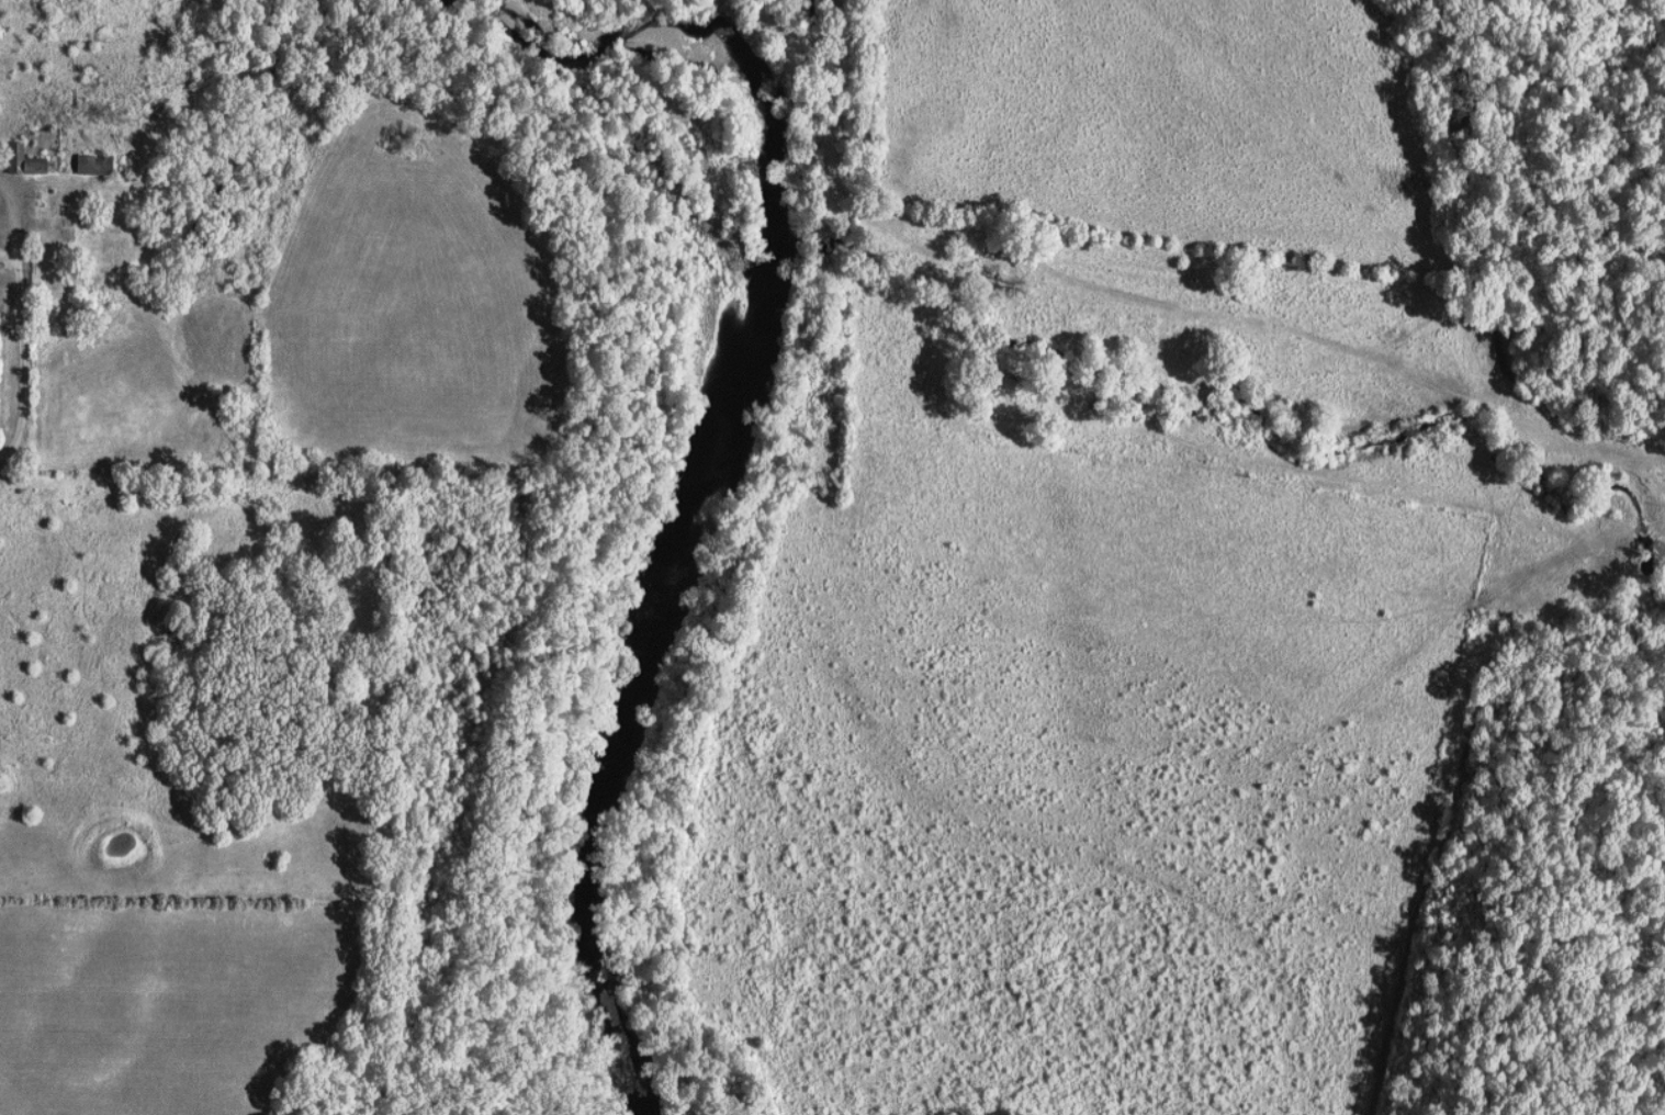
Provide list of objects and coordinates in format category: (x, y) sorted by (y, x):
building: (15, 153)
building: (93, 164)
road: (26, 333)

